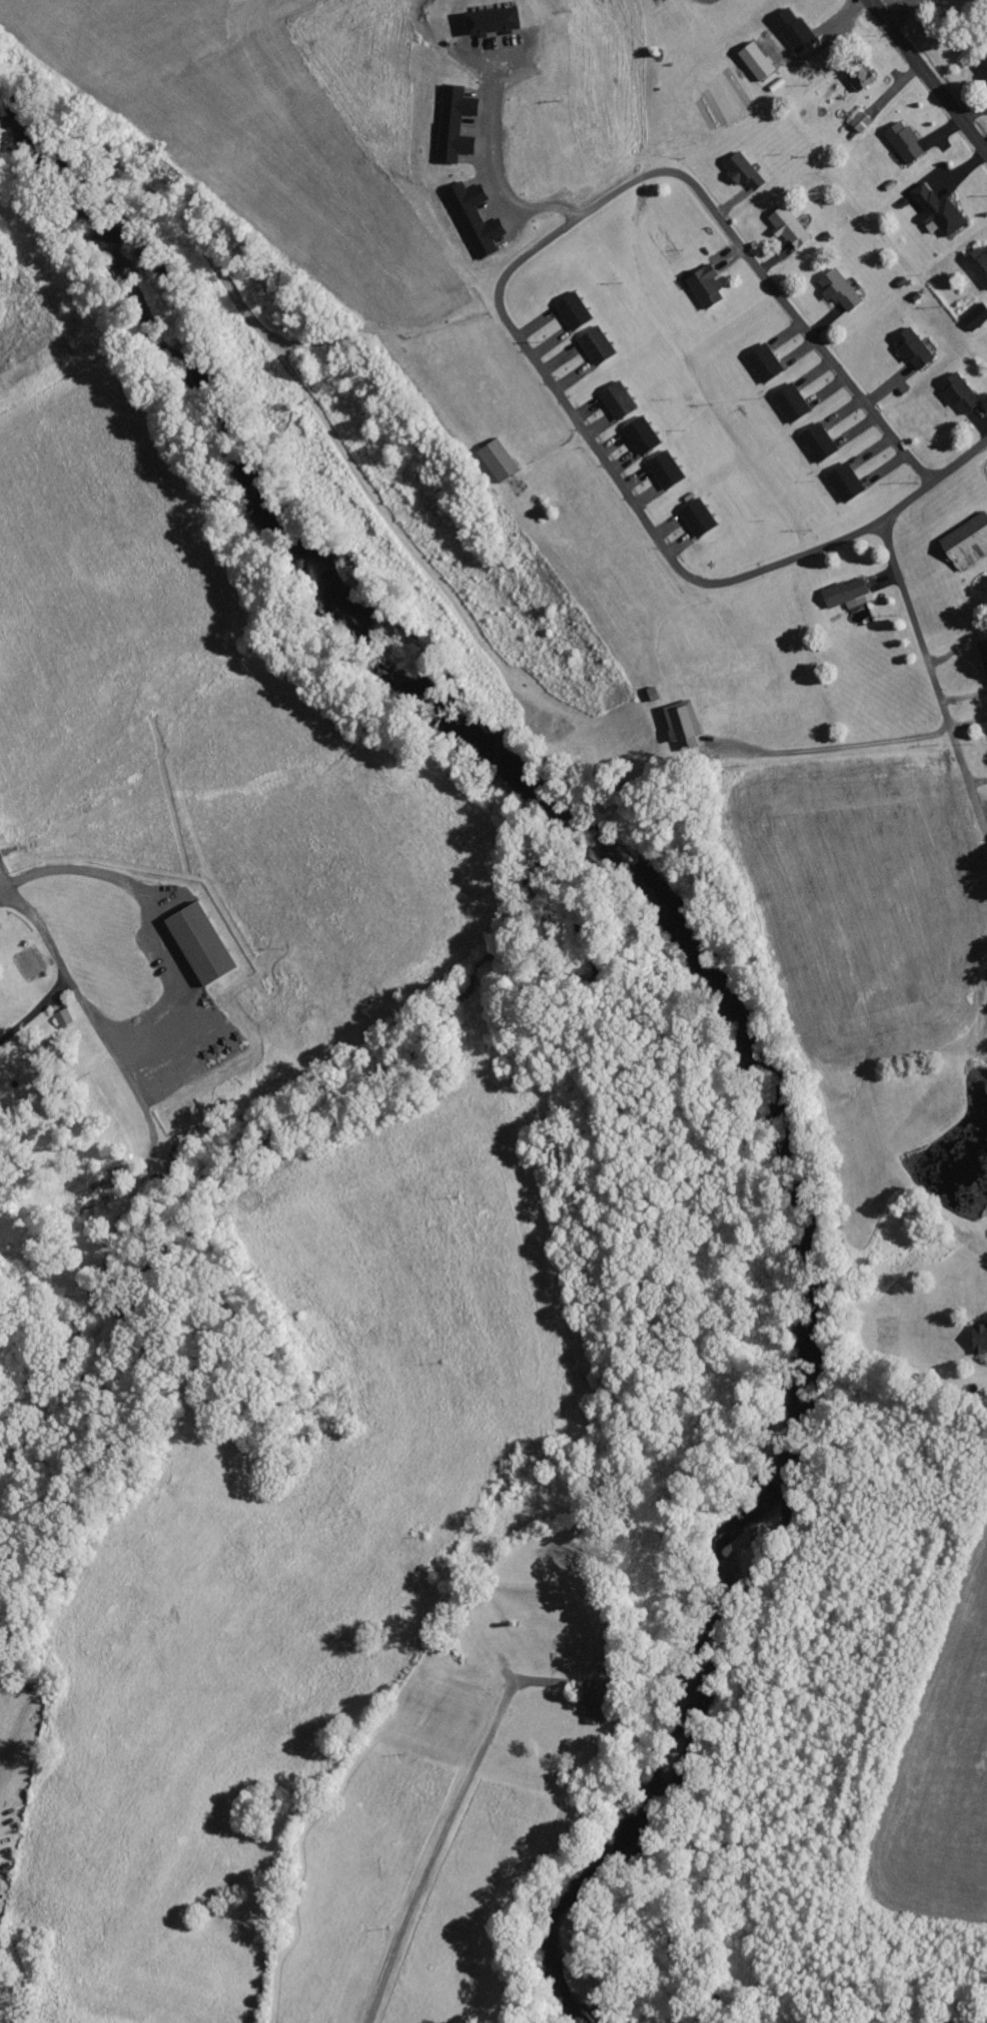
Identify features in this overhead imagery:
building: (656, 1)
building: (489, 20)
building: (791, 28)
building: (754, 60)
building: (982, 67)
building: (859, 76)
road: (928, 76)
building: (859, 122)
building: (453, 124)
building: (902, 141)
building: (740, 170)
building: (934, 210)
building: (473, 218)
building: (788, 227)
road: (519, 261)
building: (977, 264)
building: (704, 286)
building: (838, 290)
building: (572, 310)
building: (975, 317)
building: (595, 345)
building: (912, 348)
building: (762, 363)
building: (959, 393)
building: (616, 400)
building: (789, 402)
building: (640, 435)
building: (816, 442)
building: (497, 460)
building: (664, 470)
road: (935, 480)
building: (843, 482)
building: (696, 518)
building: (965, 543)
building: (845, 593)
building: (983, 654)
road: (933, 678)
building: (680, 721)
building: (198, 944)
building: (64, 1017)
building: (978, 1339)
building: (592, 1701)

